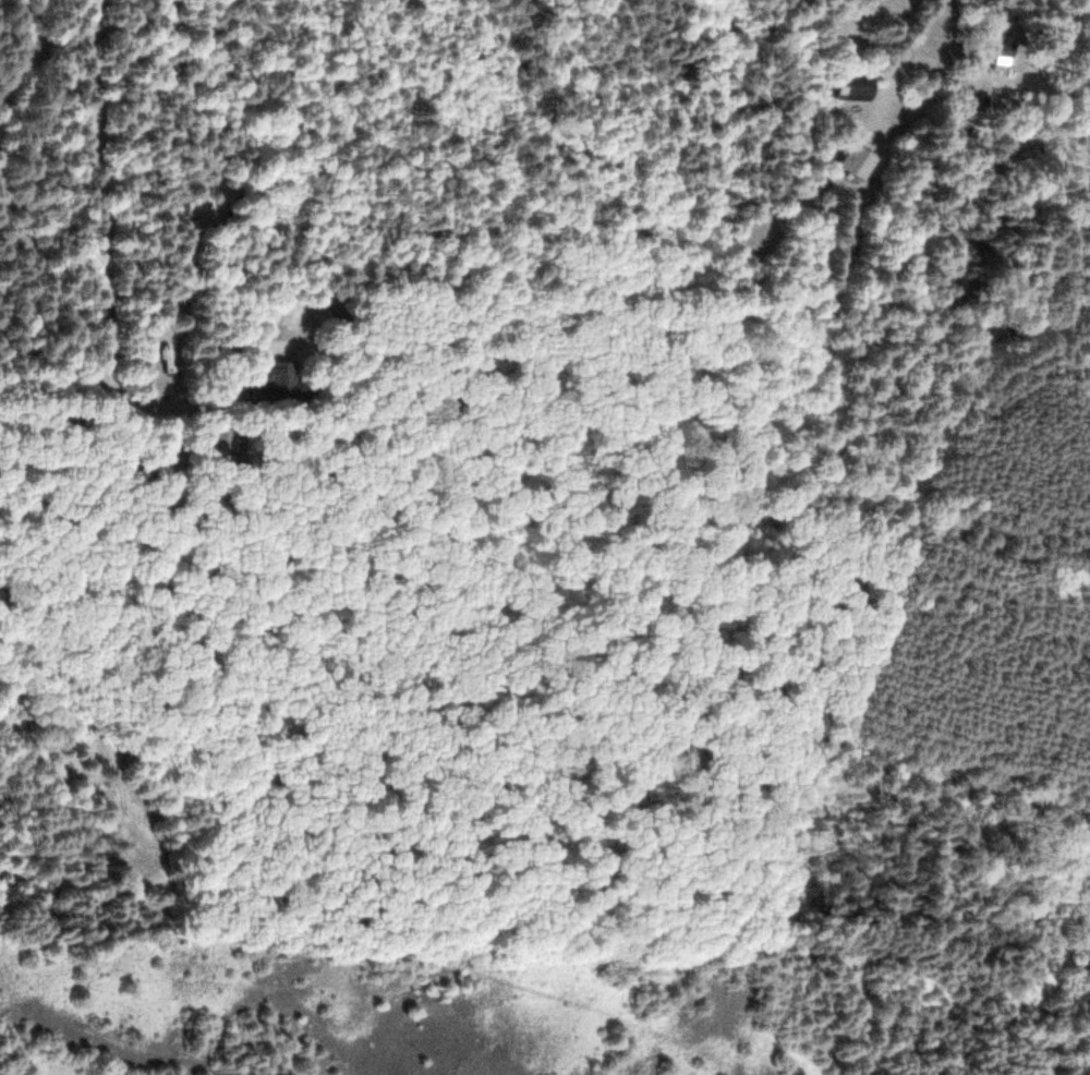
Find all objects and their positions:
building: (862, 87)
building: (858, 160)
building: (266, 386)

